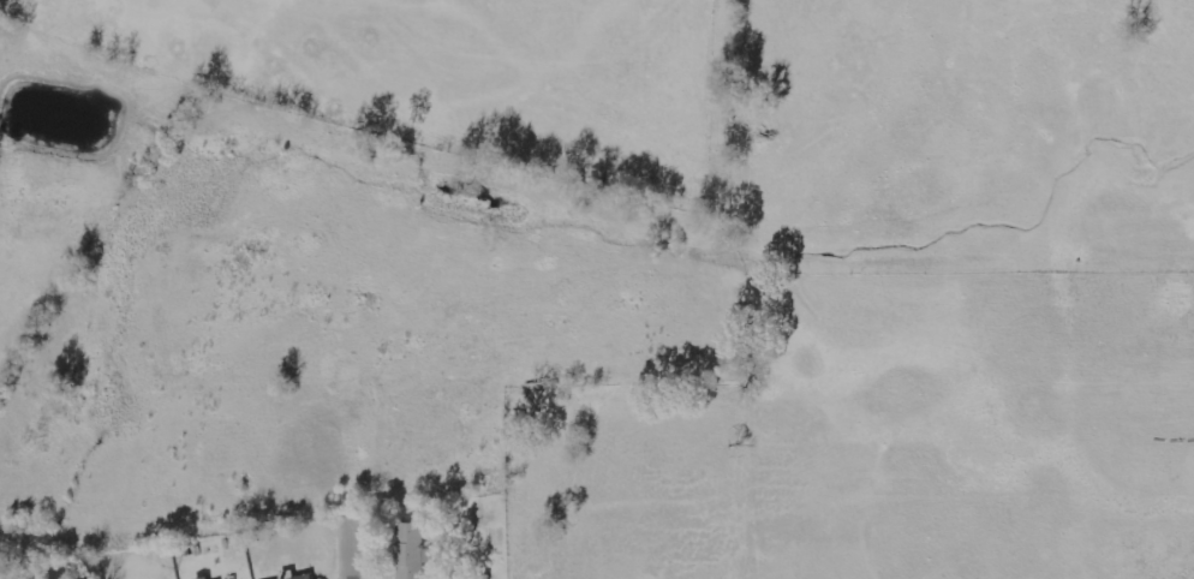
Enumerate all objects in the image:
building: (410, 550)
road: (311, 560)
building: (303, 577)
building: (203, 578)

